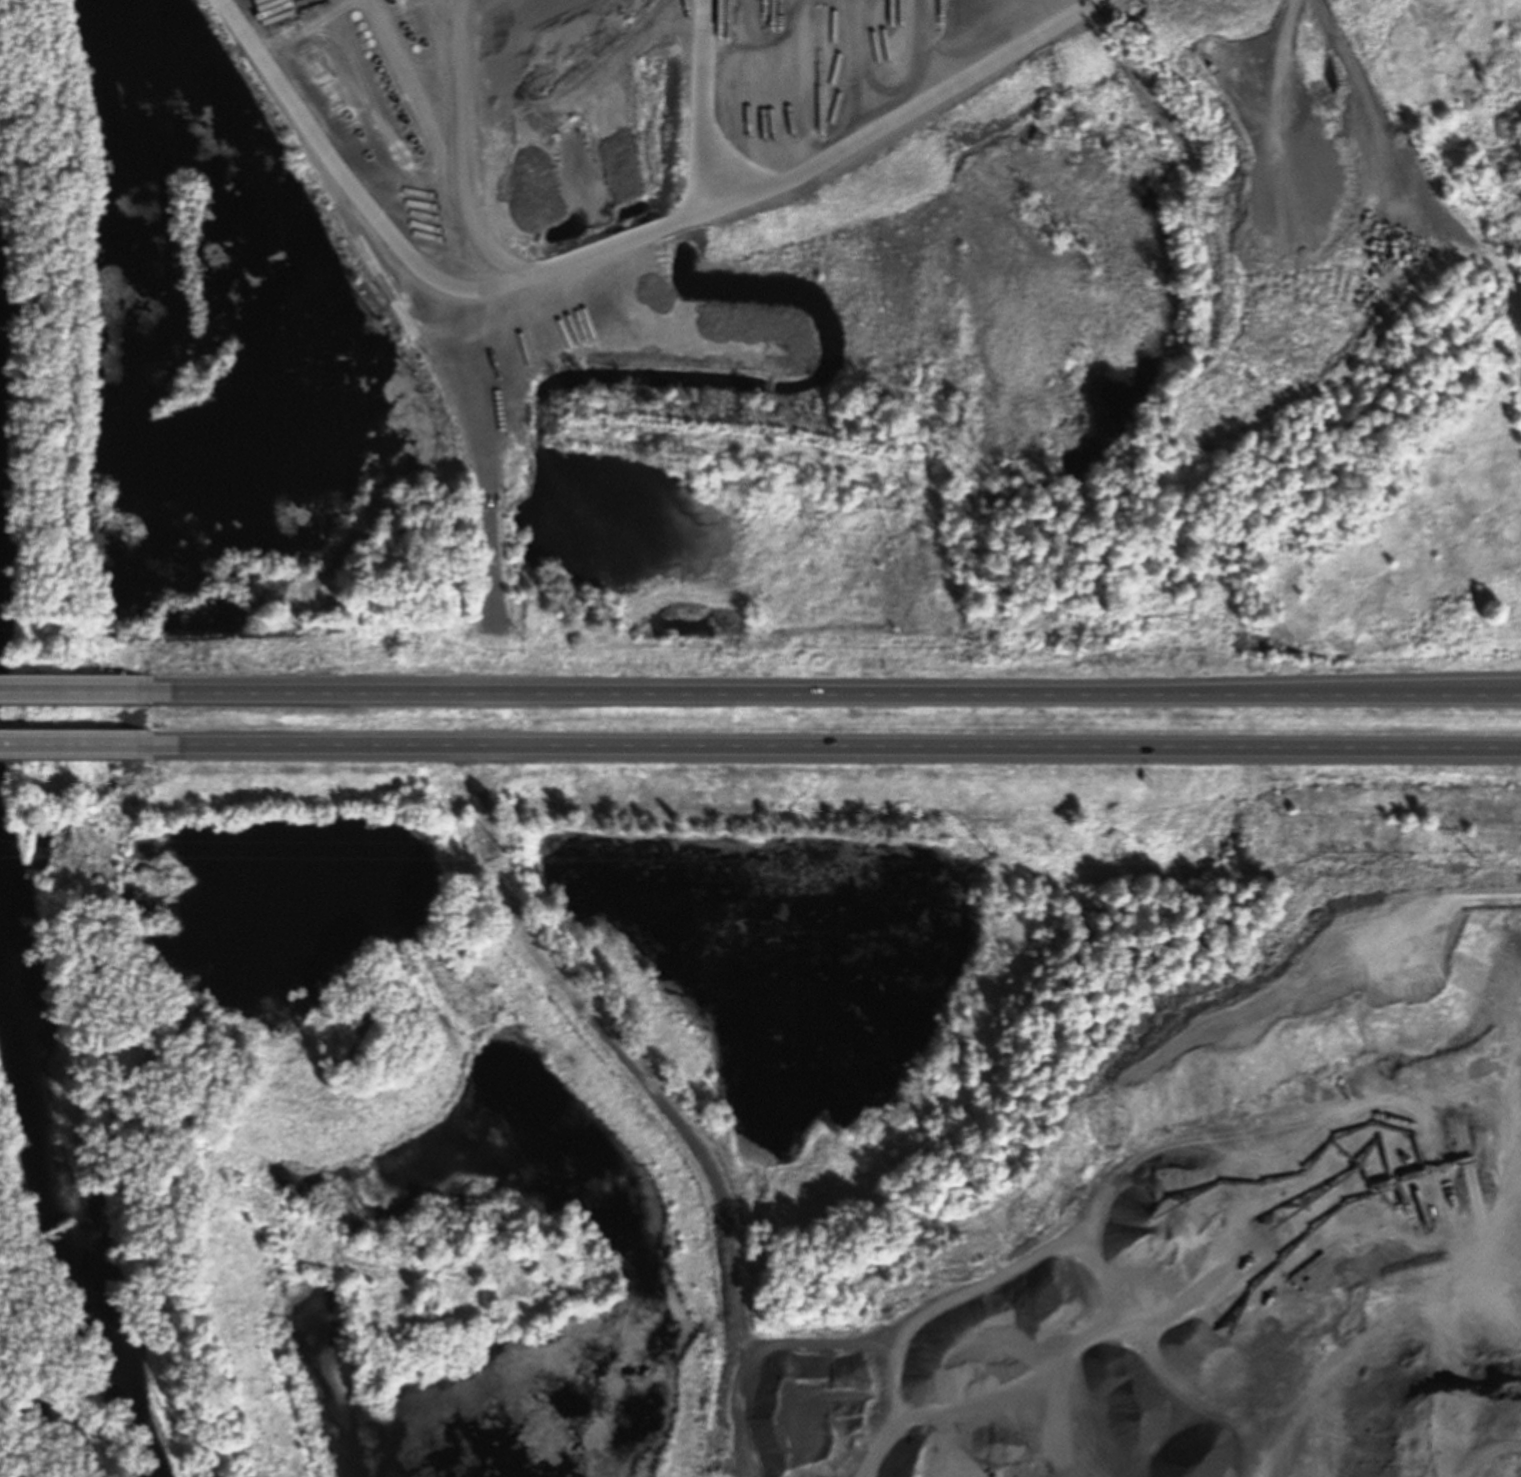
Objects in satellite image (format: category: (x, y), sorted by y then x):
building: (1226, 5)
road: (701, 102)
road: (333, 157)
road: (790, 179)
quarry: (17, 292)
quarry: (791, 312)
quarry: (68, 604)
road: (485, 619)
road: (77, 690)
road: (319, 690)
road: (1002, 692)
road: (72, 745)
building: (82, 746)
road: (312, 748)
road: (1000, 752)
power tower: (987, 849)
power tower: (502, 850)
power tower: (1471, 851)
quarry: (807, 1148)
river: (33, 1195)

